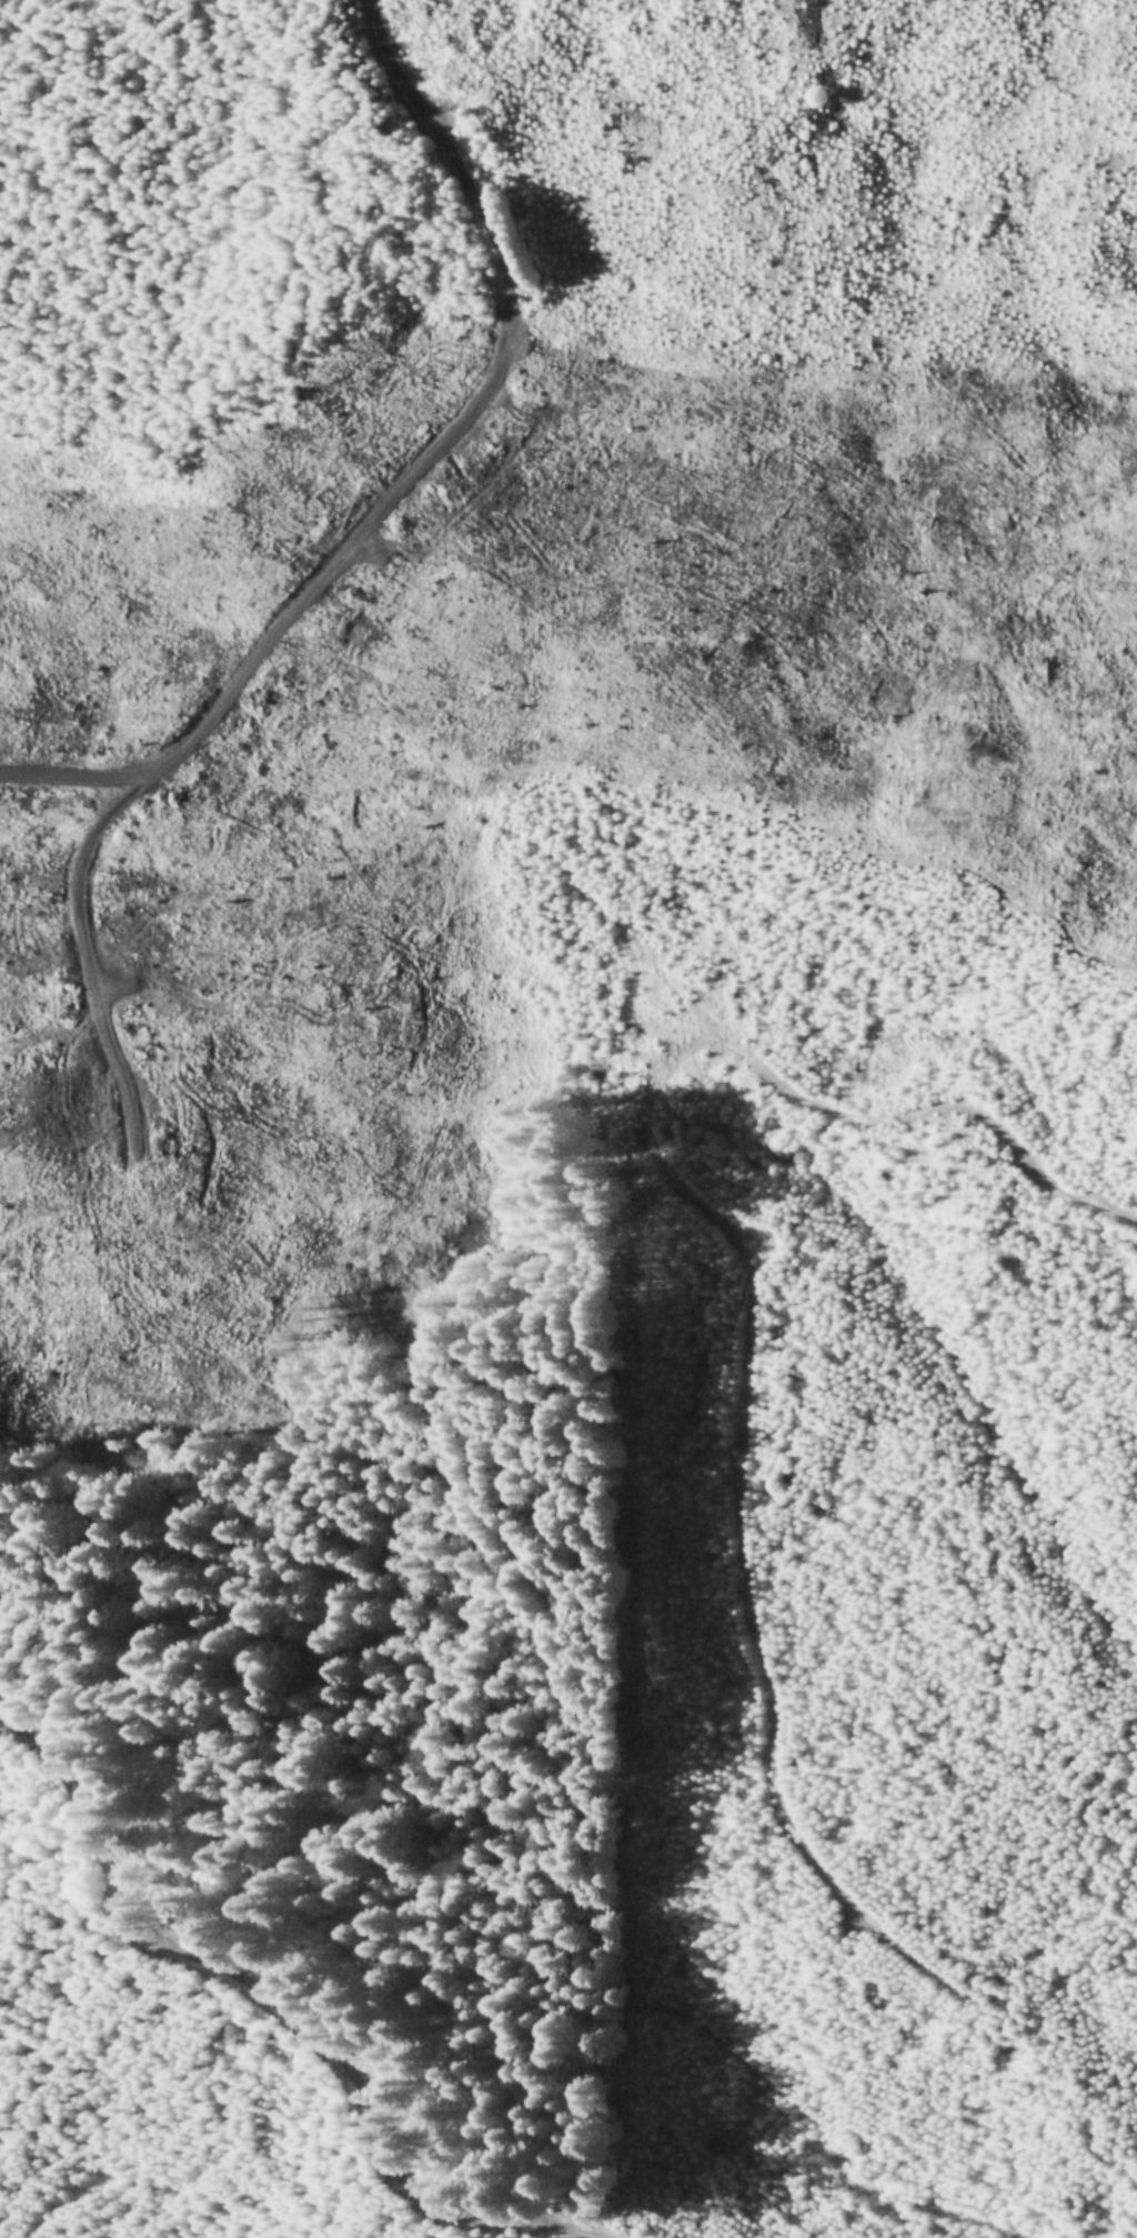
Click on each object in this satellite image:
road: (416, 108)
road: (753, 1293)
road: (283, 2005)

